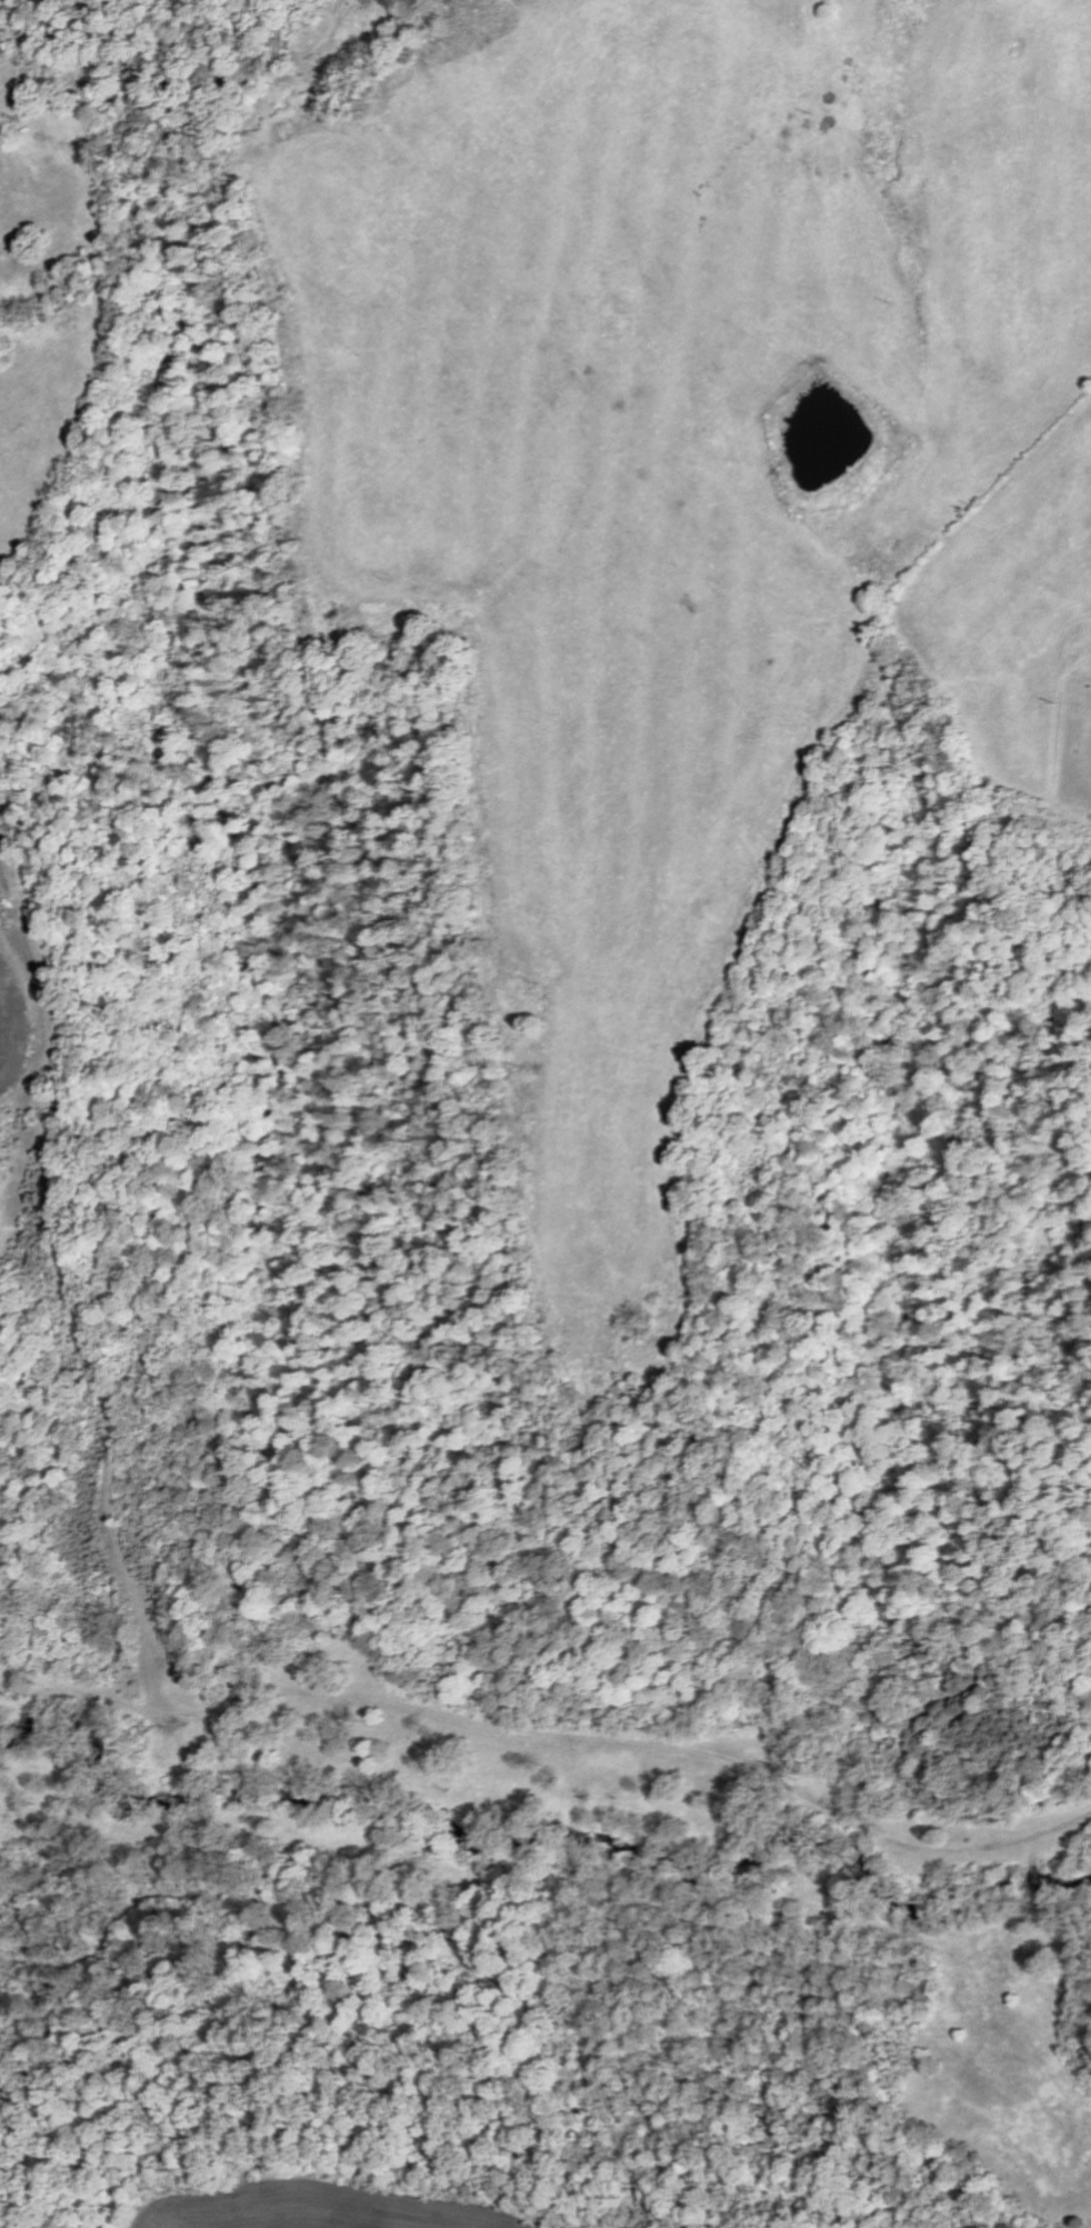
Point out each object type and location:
road: (895, 596)

